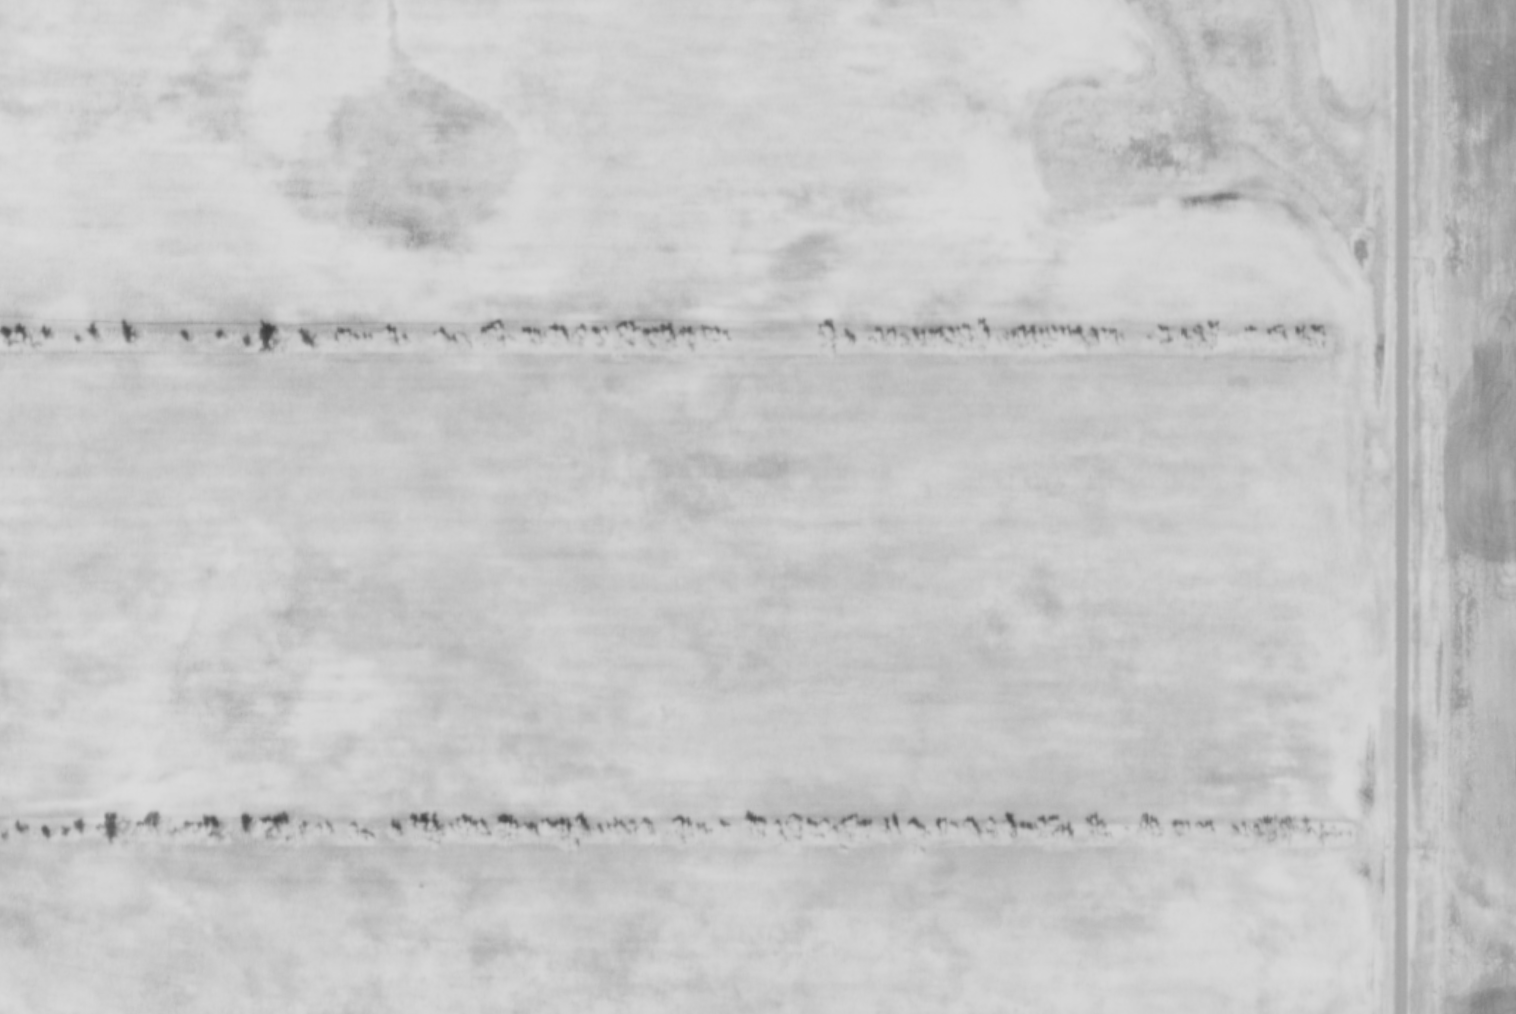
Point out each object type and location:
road: (1405, 507)

